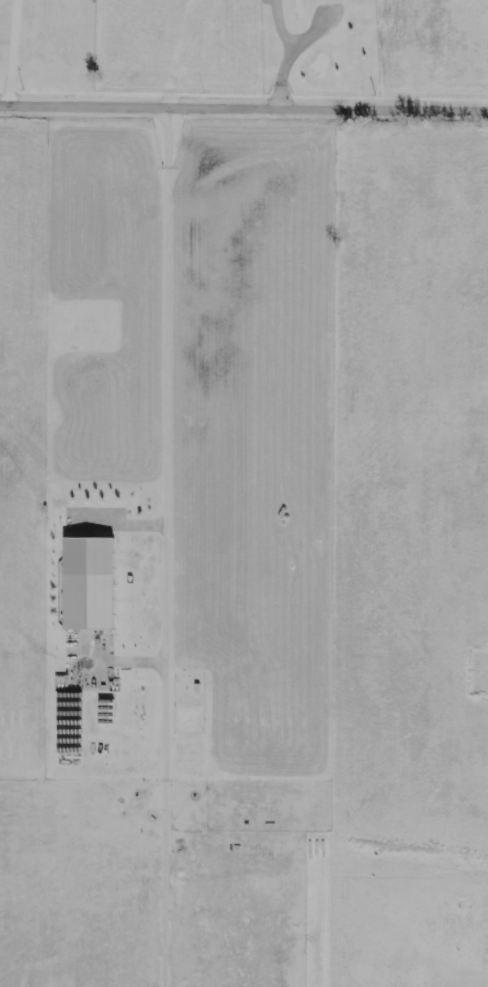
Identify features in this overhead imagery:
road: (13, 50)
road: (295, 54)
road: (243, 102)
road: (168, 409)
building: (87, 584)

